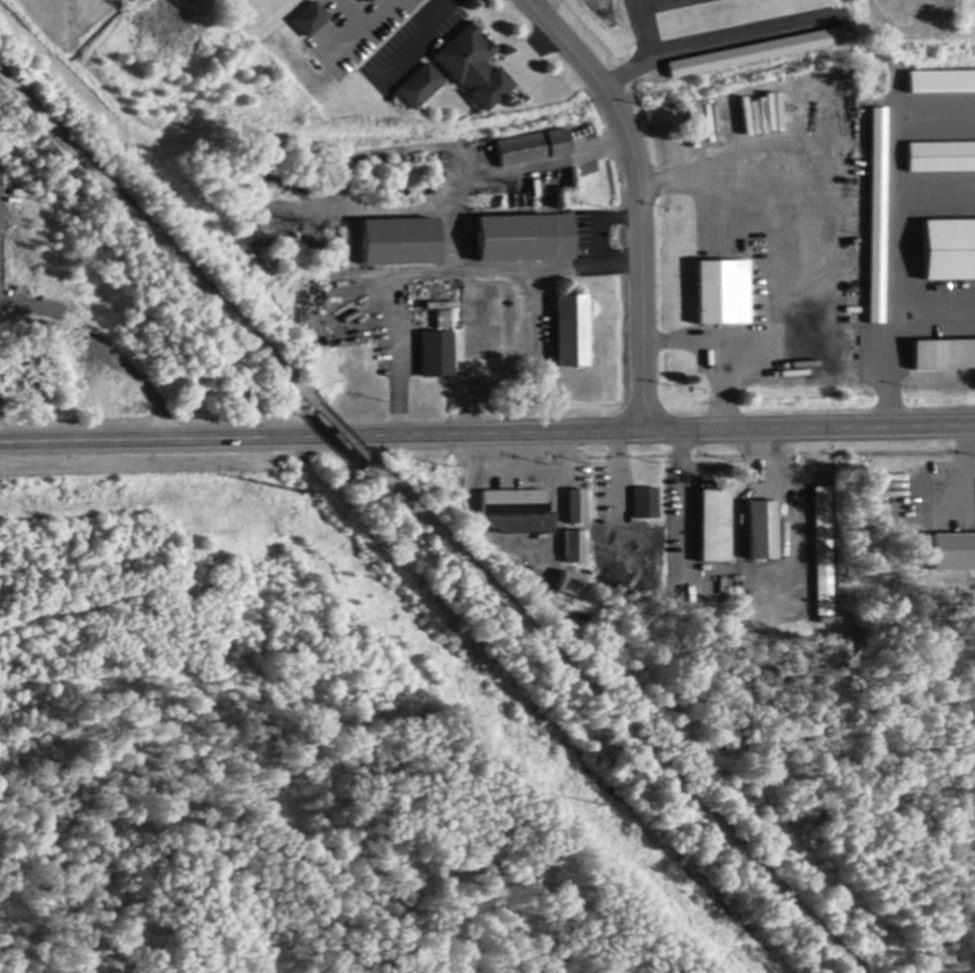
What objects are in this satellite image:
building: (370, 2)
building: (311, 20)
road: (366, 26)
road: (414, 40)
building: (757, 51)
building: (473, 69)
building: (940, 80)
building: (421, 88)
building: (532, 149)
building: (941, 158)
road: (638, 198)
building: (875, 215)
road: (154, 238)
building: (525, 240)
building: (399, 243)
road: (594, 243)
building: (948, 251)
road: (894, 273)
building: (722, 294)
building: (571, 332)
road: (104, 345)
road: (718, 350)
building: (39, 354)
building: (436, 355)
building: (943, 356)
road: (807, 360)
building: (6, 384)
road: (487, 434)
road: (345, 437)
road: (964, 449)
power tower: (304, 493)
road: (682, 494)
building: (645, 504)
building: (576, 508)
building: (517, 512)
building: (714, 527)
building: (761, 531)
building: (575, 548)
building: (822, 553)
building: (953, 553)
building: (570, 583)
road: (620, 725)
power tower: (608, 806)

